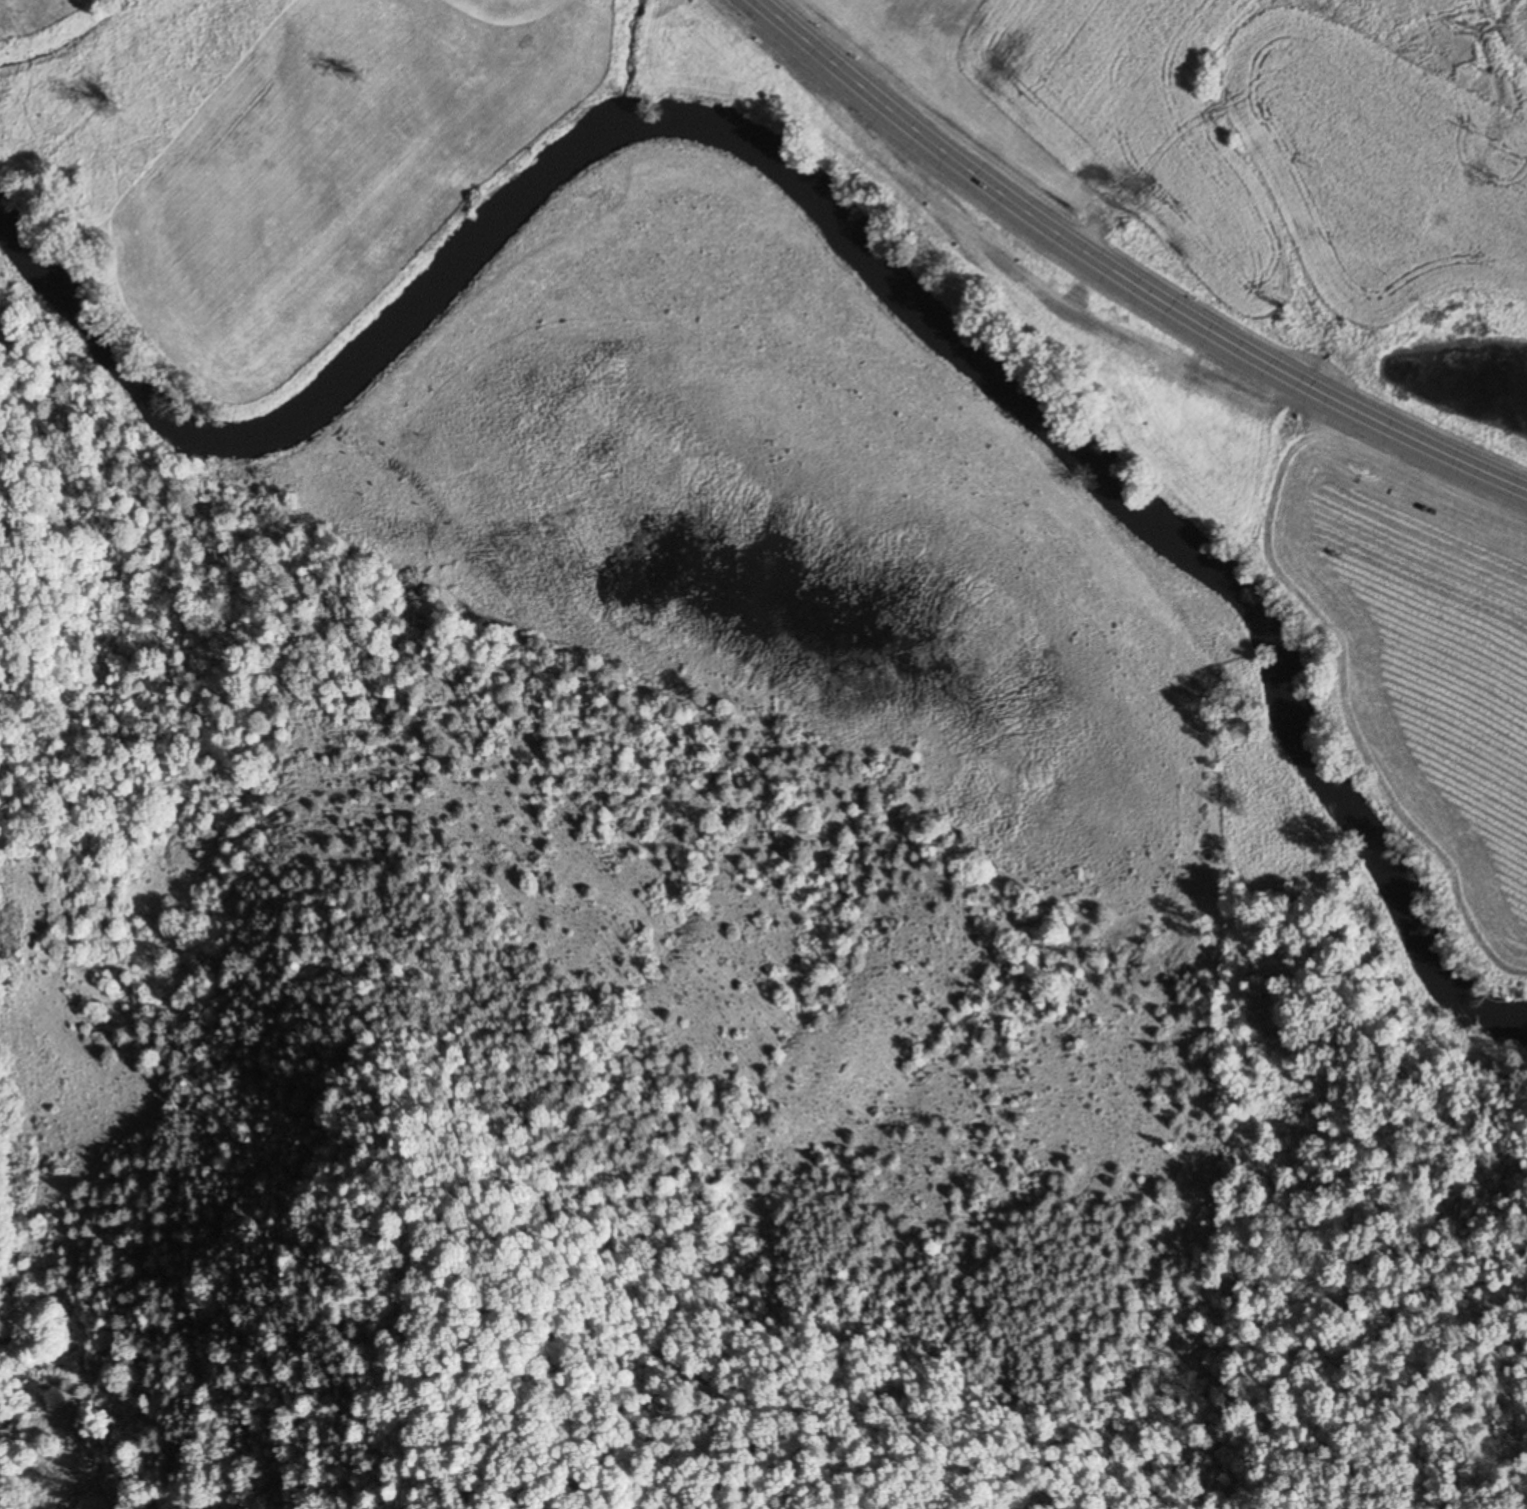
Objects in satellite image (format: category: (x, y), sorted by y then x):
park: (48, 19)
river: (831, 218)
road: (1074, 244)
road: (1474, 466)

